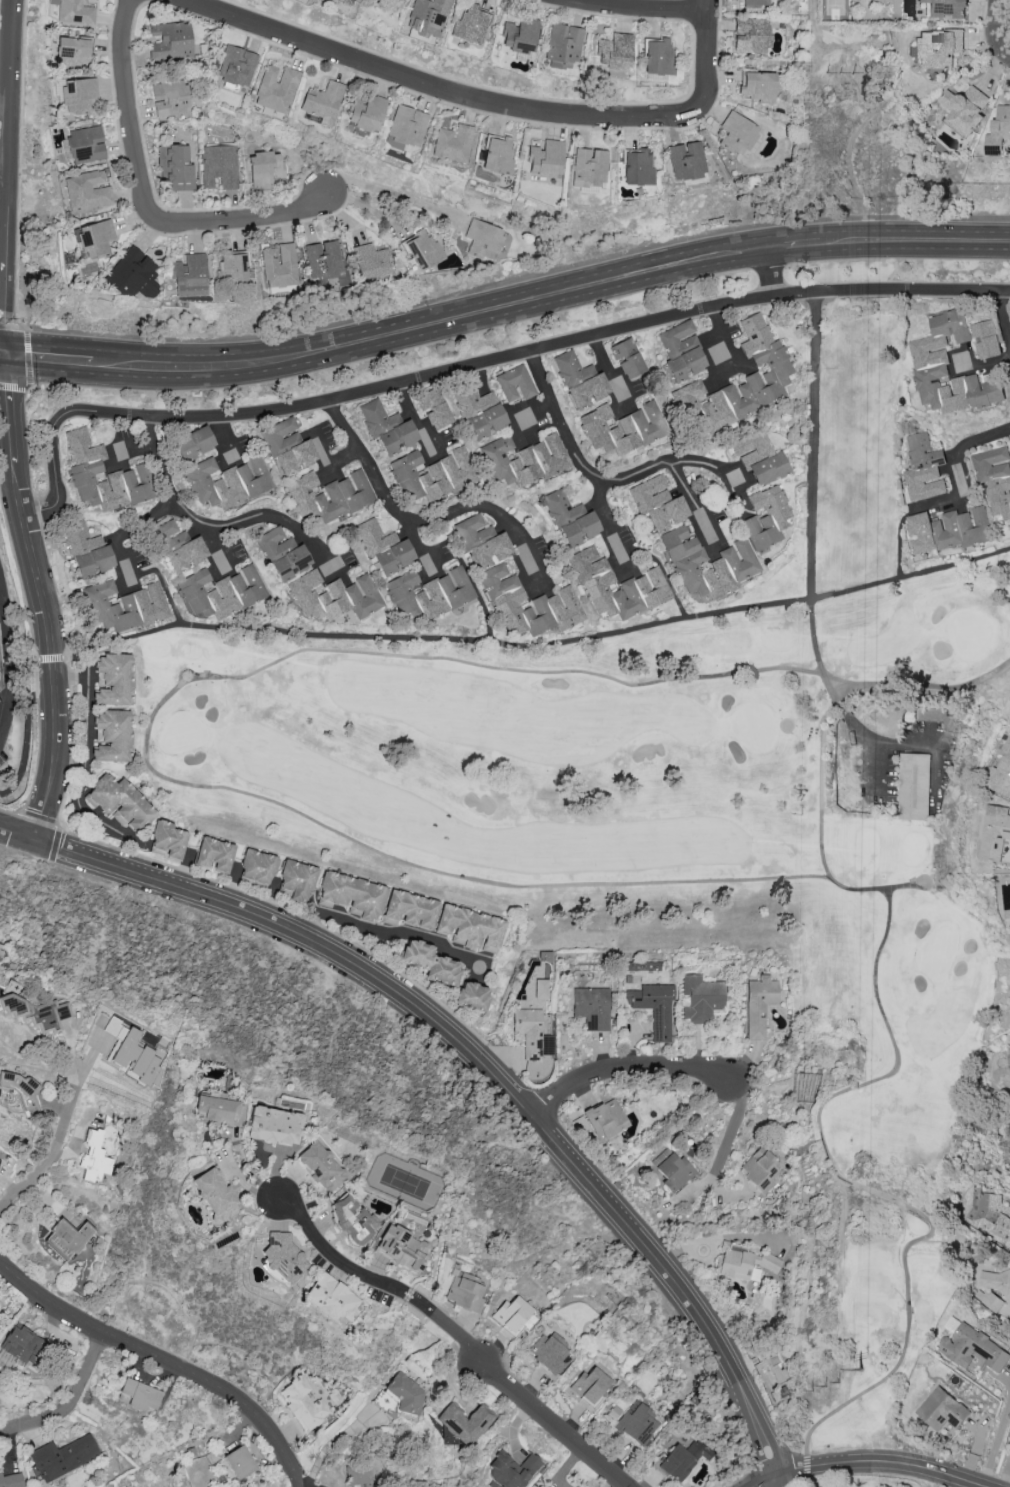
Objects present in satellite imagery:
building: (346, 1)
building: (758, 3)
building: (390, 4)
road: (646, 7)
building: (945, 8)
building: (74, 11)
building: (472, 25)
road: (1000, 26)
building: (520, 35)
building: (751, 36)
building: (170, 40)
building: (563, 46)
building: (937, 48)
building: (614, 52)
building: (72, 53)
building: (657, 56)
building: (236, 67)
power tower: (840, 70)
building: (758, 87)
building: (277, 88)
power tower: (876, 88)
building: (77, 95)
building: (170, 98)
building: (323, 102)
road: (489, 104)
building: (963, 108)
building: (367, 113)
building: (406, 127)
building: (998, 130)
building: (737, 133)
building: (453, 143)
building: (85, 145)
building: (498, 155)
building: (546, 159)
building: (686, 161)
building: (220, 166)
building: (175, 167)
building: (590, 167)
building: (638, 167)
building: (265, 169)
road: (11, 176)
road: (5, 183)
building: (87, 191)
road: (146, 193)
building: (95, 239)
building: (483, 240)
road: (914, 242)
road: (794, 247)
building: (423, 249)
building: (323, 260)
building: (370, 262)
building: (279, 265)
building: (232, 268)
building: (133, 274)
road: (771, 274)
building: (189, 276)
road: (1005, 311)
road: (432, 325)
road: (728, 335)
building: (985, 338)
road: (3, 351)
building: (680, 352)
traffic signals: (6, 353)
road: (3, 354)
road: (48, 357)
building: (627, 358)
road: (29, 360)
road: (475, 367)
building: (570, 368)
building: (948, 368)
road: (982, 369)
road: (612, 374)
building: (749, 378)
building: (515, 384)
building: (587, 391)
building: (686, 393)
road: (442, 398)
building: (434, 409)
building: (480, 412)
road: (535, 416)
road: (414, 421)
building: (387, 428)
building: (622, 428)
road: (226, 441)
building: (194, 443)
road: (811, 446)
building: (287, 447)
building: (751, 448)
road: (957, 448)
road: (320, 452)
building: (523, 460)
road: (136, 461)
road: (342, 466)
building: (922, 467)
building: (85, 469)
building: (768, 469)
building: (432, 475)
road: (596, 480)
building: (227, 482)
building: (995, 482)
road: (740, 495)
building: (329, 496)
building: (657, 503)
road: (696, 505)
building: (766, 518)
road: (153, 519)
building: (570, 520)
road: (610, 524)
road: (413, 528)
building: (948, 529)
road: (217, 530)
building: (482, 541)
road: (422, 546)
building: (179, 547)
road: (228, 547)
building: (383, 547)
building: (87, 549)
building: (282, 554)
road: (119, 558)
building: (733, 561)
road: (347, 568)
road: (540, 574)
building: (643, 583)
road: (876, 584)
building: (221, 592)
building: (429, 594)
road: (44, 595)
building: (334, 597)
building: (555, 598)
building: (124, 606)
road: (439, 642)
road: (9, 644)
road: (34, 653)
road: (51, 658)
building: (2, 666)
building: (112, 680)
building: (937, 717)
road: (4, 725)
building: (111, 736)
road: (870, 740)
road: (75, 741)
parking lot: (3, 750)
building: (1001, 773)
road: (822, 780)
building: (913, 786)
building: (119, 803)
park: (700, 817)
road: (59, 824)
building: (995, 832)
building: (167, 840)
building: (214, 855)
building: (257, 867)
road: (405, 867)
building: (296, 880)
road: (903, 887)
building: (351, 896)
building: (408, 910)
building: (469, 929)
road: (381, 930)
building: (429, 963)
building: (541, 989)
building: (472, 996)
building: (701, 999)
building: (759, 1005)
building: (654, 1007)
building: (592, 1008)
building: (37, 1013)
building: (532, 1033)
road: (471, 1051)
building: (131, 1053)
road: (628, 1070)
building: (23, 1091)
building: (219, 1111)
building: (606, 1119)
building: (274, 1125)
road: (64, 1128)
road: (729, 1133)
building: (94, 1157)
road: (246, 1165)
building: (320, 1167)
building: (759, 1169)
building: (672, 1170)
building: (214, 1195)
building: (352, 1218)
building: (991, 1218)
building: (67, 1239)
building: (402, 1248)
building: (282, 1256)
road: (337, 1257)
building: (744, 1264)
building: (993, 1288)
building: (464, 1294)
building: (332, 1299)
building: (512, 1313)
building: (21, 1345)
building: (972, 1348)
building: (547, 1353)
road: (161, 1362)
building: (775, 1367)
power tower: (865, 1374)
building: (589, 1385)
power tower: (829, 1388)
road: (514, 1392)
building: (406, 1393)
building: (138, 1395)
road: (69, 1402)
building: (303, 1403)
building: (941, 1409)
building: (465, 1422)
building: (637, 1423)
road: (996, 1439)
road: (331, 1444)
building: (63, 1457)
building: (681, 1460)
road: (885, 1461)
road: (807, 1467)
building: (511, 1470)
building: (358, 1475)
road: (928, 1476)
building: (11, 1480)
road: (765, 1480)
road: (778, 1480)
road: (813, 1484)

